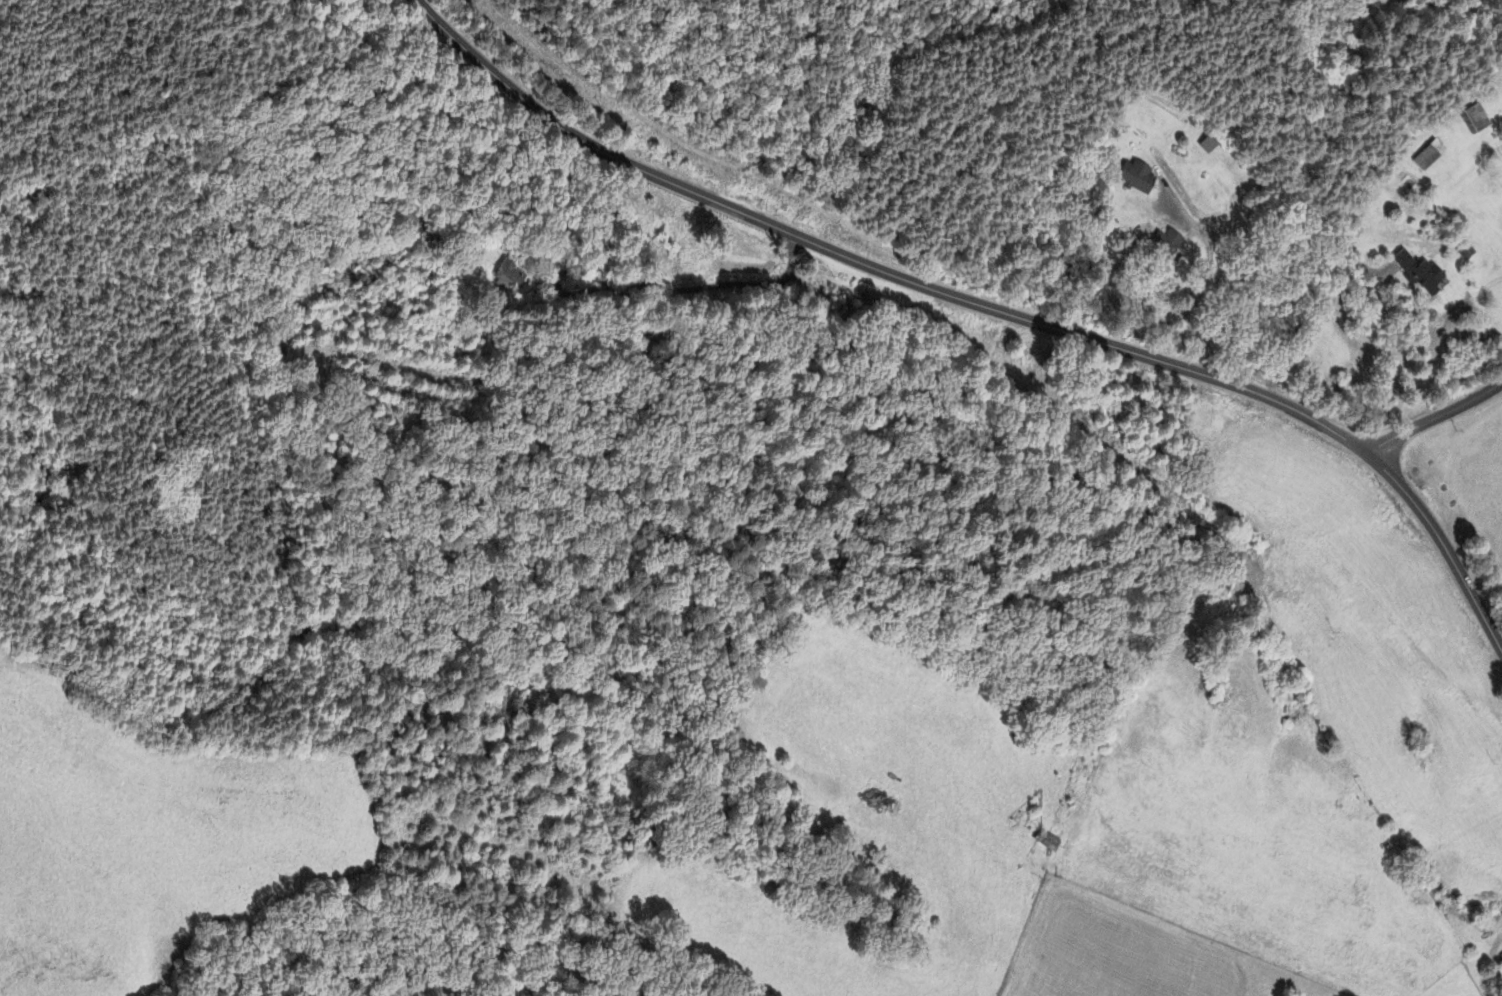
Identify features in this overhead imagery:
building: (1475, 120)
building: (1207, 146)
building: (1428, 157)
building: (1136, 179)
building: (1163, 245)
building: (1419, 275)
building: (509, 277)
road: (1476, 291)
road: (983, 306)
road: (1438, 418)
building: (1501, 958)

